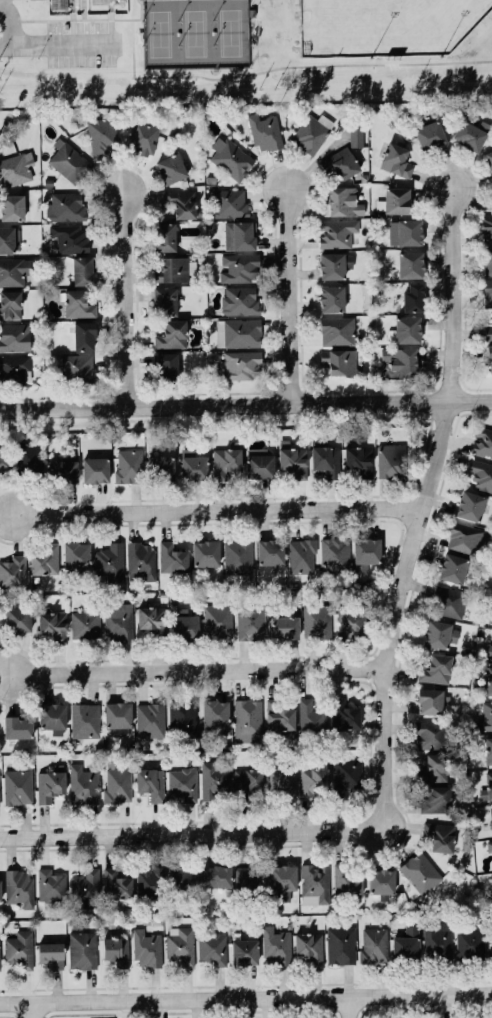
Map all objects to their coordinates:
building: (61, 4)
road: (14, 23)
park: (386, 25)
road: (66, 49)
road: (282, 67)
building: (264, 130)
building: (310, 132)
building: (355, 132)
building: (101, 134)
building: (429, 134)
building: (468, 134)
building: (142, 137)
building: (230, 157)
building: (68, 159)
building: (396, 159)
building: (488, 159)
building: (339, 162)
building: (170, 167)
building: (15, 168)
building: (343, 199)
building: (393, 199)
building: (182, 201)
building: (230, 201)
building: (66, 204)
building: (11, 207)
building: (486, 227)
building: (335, 231)
building: (404, 231)
building: (242, 234)
building: (164, 235)
building: (69, 237)
building: (9, 239)
building: (487, 259)
building: (332, 263)
building: (410, 264)
building: (238, 267)
building: (175, 268)
building: (83, 269)
building: (14, 270)
building: (487, 292)
road: (288, 295)
building: (412, 295)
building: (331, 297)
road: (124, 298)
building: (240, 299)
building: (164, 300)
building: (9, 303)
building: (77, 303)
building: (337, 329)
building: (405, 329)
building: (488, 329)
building: (237, 332)
building: (171, 333)
building: (84, 334)
building: (14, 336)
building: (489, 357)
building: (338, 359)
building: (398, 360)
building: (238, 363)
building: (165, 365)
building: (14, 367)
building: (77, 367)
road: (245, 403)
building: (482, 441)
building: (27, 456)
building: (358, 458)
building: (224, 459)
building: (326, 459)
building: (390, 459)
building: (292, 460)
building: (3, 461)
building: (128, 464)
building: (192, 464)
building: (258, 464)
building: (159, 467)
building: (62, 468)
building: (94, 468)
building: (480, 473)
road: (421, 504)
building: (469, 504)
road: (217, 508)
building: (465, 537)
building: (365, 548)
building: (269, 550)
building: (204, 551)
building: (334, 552)
building: (76, 554)
building: (301, 555)
building: (237, 556)
building: (171, 557)
building: (45, 558)
building: (110, 560)
building: (140, 560)
building: (453, 567)
building: (13, 569)
building: (446, 600)
building: (17, 618)
building: (152, 619)
building: (491, 619)
building: (118, 620)
building: (217, 620)
building: (315, 620)
building: (250, 621)
building: (351, 621)
building: (85, 623)
building: (53, 624)
building: (183, 624)
building: (283, 626)
building: (436, 633)
building: (489, 650)
building: (436, 667)
road: (199, 668)
building: (488, 680)
building: (430, 700)
building: (214, 711)
building: (343, 714)
building: (52, 716)
building: (116, 716)
building: (181, 716)
building: (278, 716)
building: (485, 716)
building: (149, 717)
building: (85, 719)
building: (247, 719)
building: (311, 719)
building: (17, 726)
building: (429, 733)
building: (488, 749)
building: (432, 767)
building: (344, 775)
building: (313, 777)
building: (213, 779)
building: (281, 780)
building: (182, 781)
building: (245, 781)
building: (149, 782)
building: (82, 783)
building: (116, 783)
building: (49, 784)
building: (17, 786)
building: (487, 786)
building: (434, 799)
building: (491, 815)
road: (189, 833)
building: (438, 834)
building: (489, 844)
building: (420, 871)
building: (215, 875)
building: (282, 876)
building: (182, 878)
building: (247, 880)
building: (315, 881)
building: (345, 881)
building: (380, 881)
building: (150, 882)
building: (51, 883)
building: (116, 885)
building: (18, 887)
building: (85, 887)
building: (0, 890)
building: (437, 939)
building: (469, 942)
building: (490, 942)
building: (372, 943)
building: (179, 944)
building: (340, 944)
building: (405, 944)
building: (309, 945)
building: (276, 946)
building: (19, 948)
building: (146, 948)
building: (211, 948)
building: (82, 949)
building: (116, 949)
building: (244, 951)
building: (51, 953)
building: (0, 963)
road: (246, 996)
road: (347, 1006)
road: (32, 1009)

